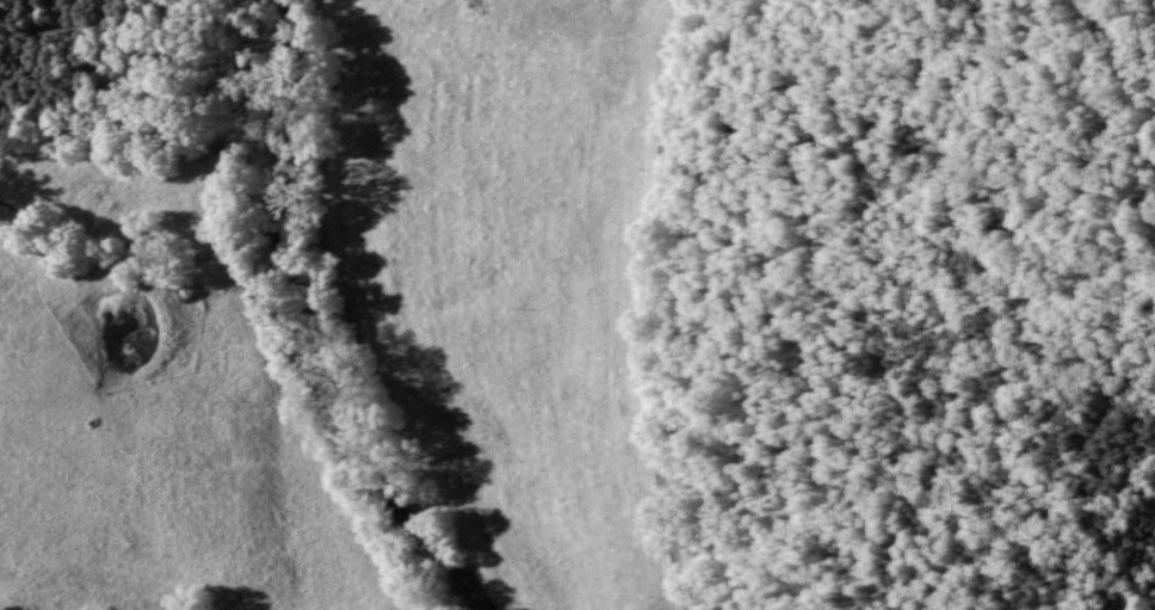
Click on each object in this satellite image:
road: (662, 249)
road: (679, 562)

